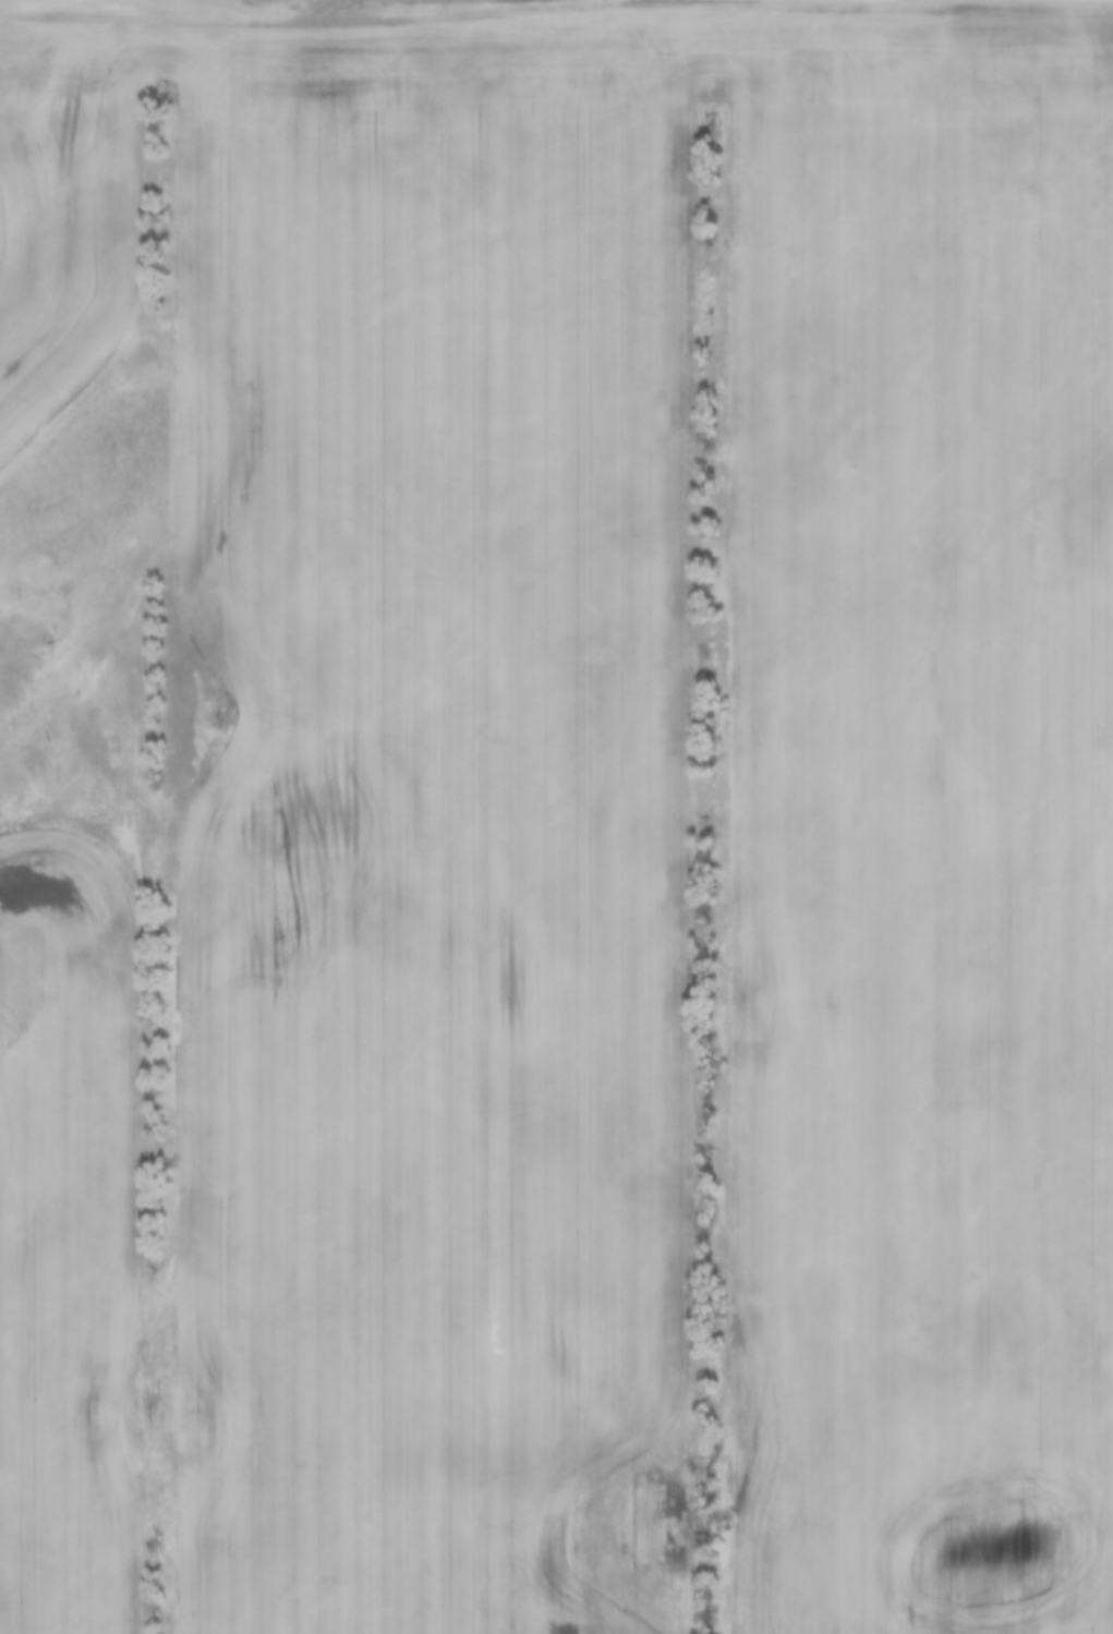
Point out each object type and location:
road: (556, 14)

